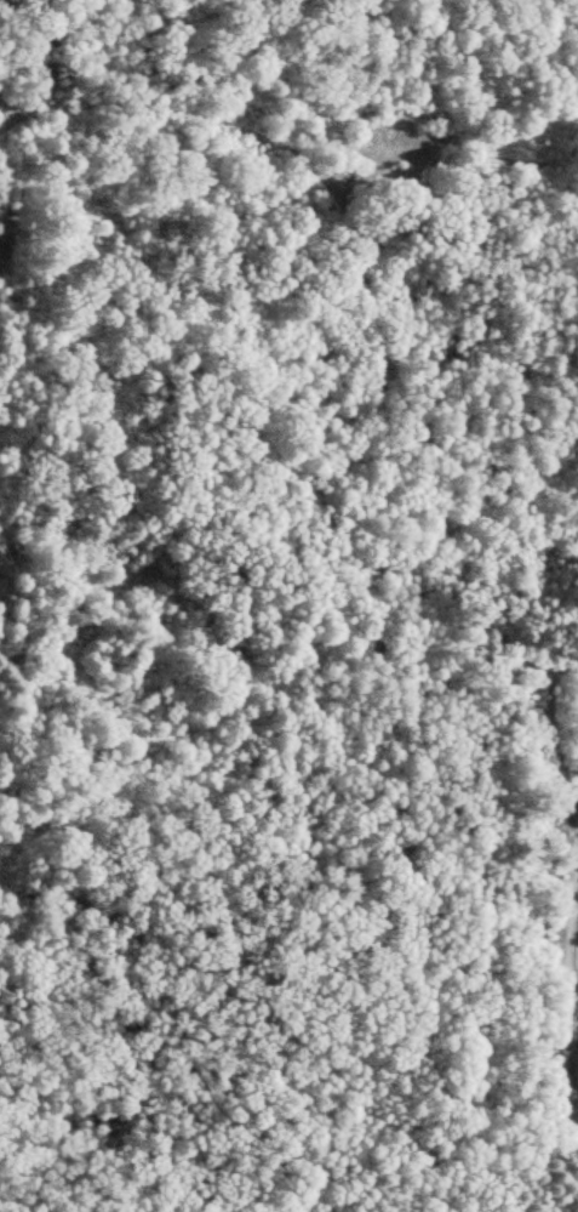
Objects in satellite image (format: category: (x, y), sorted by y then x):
road: (376, 499)

